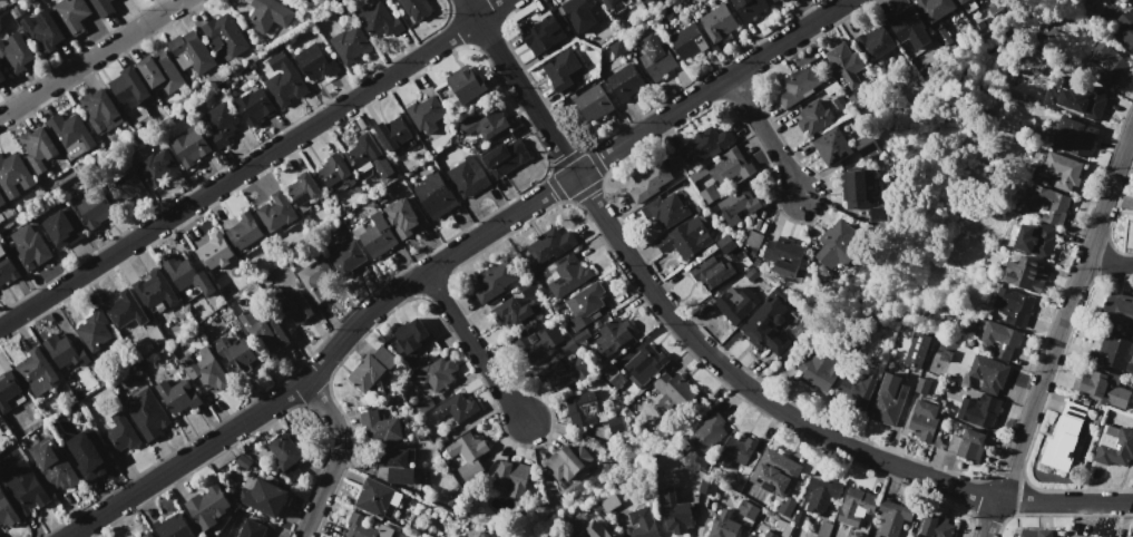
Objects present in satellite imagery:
building: (645, 0)
building: (773, 0)
building: (780, 0)
building: (646, 1)
building: (959, 1)
building: (611, 2)
building: (101, 7)
building: (417, 8)
building: (748, 8)
building: (935, 8)
building: (579, 13)
building: (71, 14)
building: (267, 14)
building: (379, 21)
building: (716, 23)
building: (908, 27)
building: (1125, 29)
building: (41, 32)
building: (543, 35)
building: (224, 37)
building: (687, 41)
building: (875, 42)
building: (350, 43)
building: (617, 48)
building: (191, 51)
building: (16, 52)
road: (95, 58)
building: (657, 61)
building: (315, 62)
building: (846, 64)
building: (1107, 64)
building: (560, 69)
building: (162, 71)
building: (2, 77)
building: (284, 80)
building: (625, 82)
building: (466, 84)
building: (799, 84)
building: (128, 87)
building: (1084, 99)
building: (594, 102)
building: (254, 106)
building: (100, 111)
building: (426, 114)
building: (813, 117)
building: (484, 121)
building: (221, 123)
building: (392, 133)
building: (70, 134)
road: (766, 137)
building: (1075, 137)
building: (706, 144)
building: (191, 146)
building: (831, 146)
building: (866, 147)
building: (38, 148)
building: (364, 150)
building: (506, 157)
road: (254, 162)
building: (157, 166)
building: (334, 169)
building: (1062, 170)
building: (725, 174)
building: (13, 175)
building: (468, 176)
building: (649, 179)
building: (126, 186)
building: (302, 188)
building: (433, 195)
building: (1, 199)
building: (860, 199)
building: (1049, 204)
building: (738, 205)
building: (696, 207)
building: (94, 209)
building: (665, 209)
building: (276, 212)
building: (404, 216)
building: (61, 227)
building: (245, 231)
building: (378, 236)
building: (685, 238)
building: (753, 240)
building: (1036, 240)
building: (725, 244)
building: (837, 244)
building: (549, 245)
building: (28, 250)
building: (215, 251)
building: (784, 256)
road: (446, 257)
building: (346, 258)
road: (1110, 261)
building: (6, 268)
building: (711, 272)
building: (1025, 274)
building: (186, 275)
building: (566, 276)
building: (314, 277)
building: (494, 281)
building: (154, 290)
building: (735, 304)
building: (584, 305)
building: (1013, 306)
building: (296, 307)
building: (125, 310)
building: (514, 312)
building: (1119, 312)
building: (765, 326)
building: (263, 330)
building: (96, 333)
building: (410, 334)
building: (613, 335)
building: (580, 336)
road: (1057, 336)
building: (1000, 340)
building: (538, 341)
road: (471, 348)
building: (568, 348)
building: (917, 350)
building: (64, 352)
building: (1114, 353)
building: (241, 357)
road: (719, 364)
building: (645, 365)
building: (371, 368)
building: (205, 369)
building: (33, 371)
building: (561, 372)
building: (437, 373)
building: (987, 373)
building: (611, 374)
building: (814, 374)
building: (921, 387)
building: (8, 389)
building: (1104, 389)
building: (856, 391)
building: (672, 392)
building: (177, 396)
building: (889, 399)
building: (421, 406)
building: (587, 408)
building: (456, 409)
building: (978, 411)
building: (147, 413)
building: (925, 420)
building: (616, 424)
building: (653, 426)
building: (379, 429)
building: (119, 433)
building: (706, 433)
building: (1063, 438)
building: (951, 442)
building: (970, 445)
building: (1114, 447)
building: (736, 450)
building: (284, 451)
building: (468, 455)
building: (90, 456)
road: (339, 457)
building: (243, 461)
building: (749, 461)
building: (564, 463)
building: (52, 465)
building: (394, 466)
building: (774, 472)
building: (514, 477)
building: (706, 486)
building: (23, 488)
building: (820, 495)
building: (263, 497)
building: (378, 498)
building: (854, 505)
building: (207, 507)
building: (746, 507)
building: (785, 507)
building: (7, 511)
building: (675, 512)
building: (893, 516)
building: (798, 518)
building: (641, 524)
building: (723, 525)
building: (172, 526)
building: (937, 526)
building: (365, 527)
building: (783, 527)
building: (252, 529)
building: (822, 529)
building: (1035, 533)
building: (147, 535)
building: (750, 535)
building: (769, 535)
building: (597, 536)
building: (1080, 536)
building: (1111, 536)

